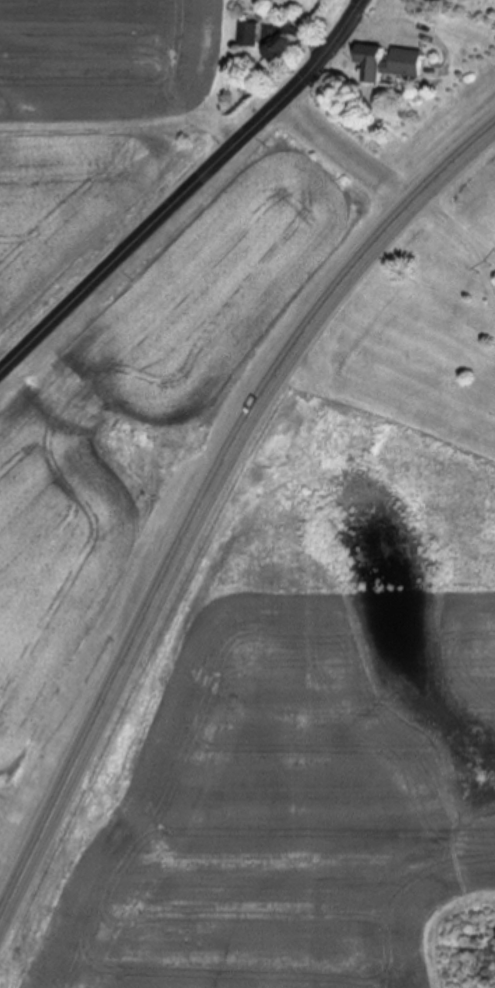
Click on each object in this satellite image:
building: (250, 36)
building: (277, 52)
building: (386, 63)
road: (348, 153)
road: (188, 193)
road: (448, 220)
road: (485, 252)
road: (485, 265)
road: (204, 498)

